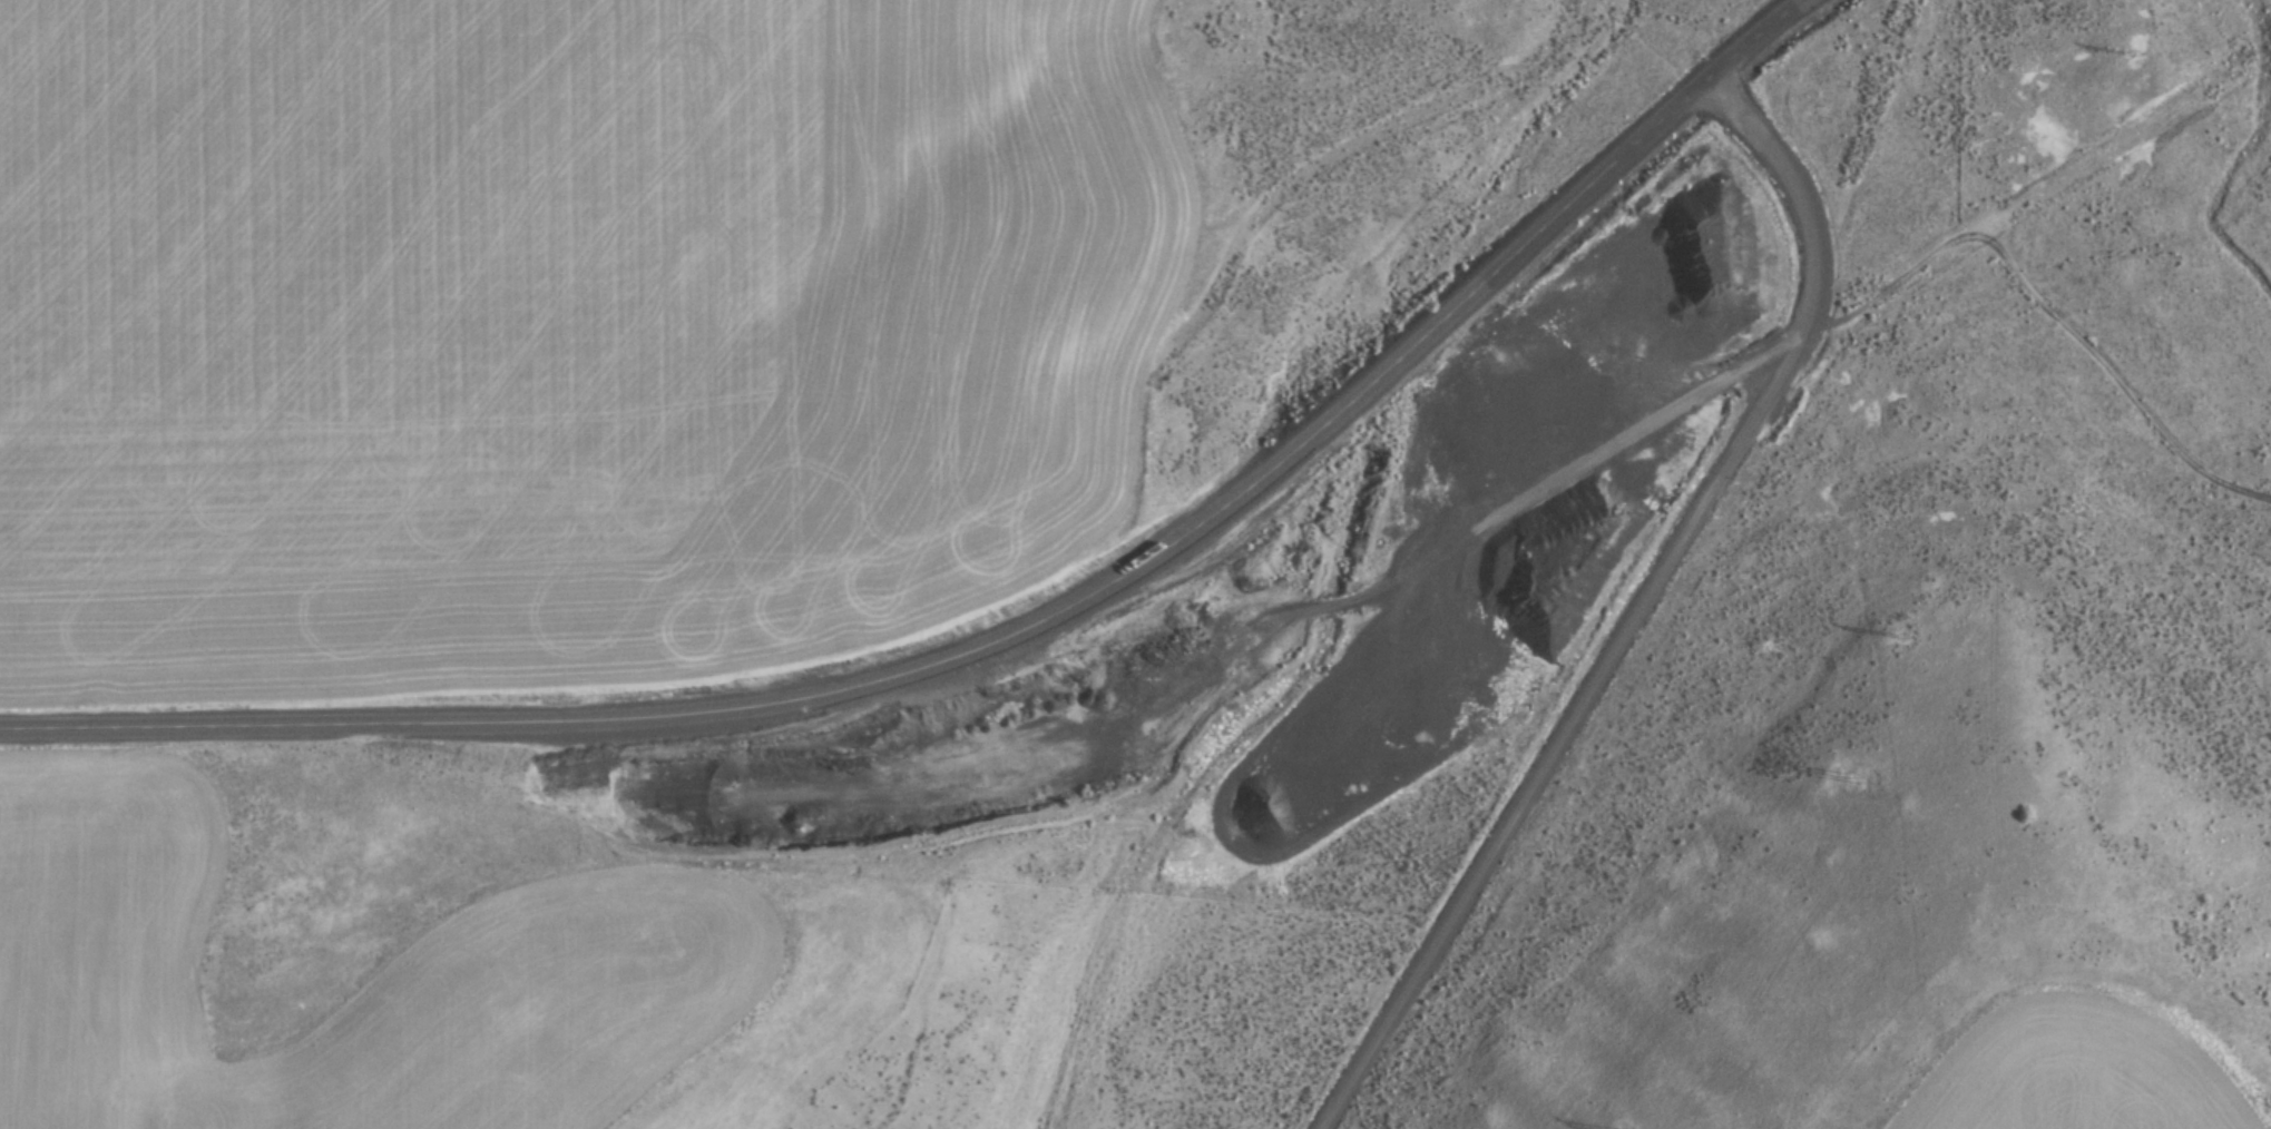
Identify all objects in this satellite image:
road: (1639, 607)
road: (1007, 635)

